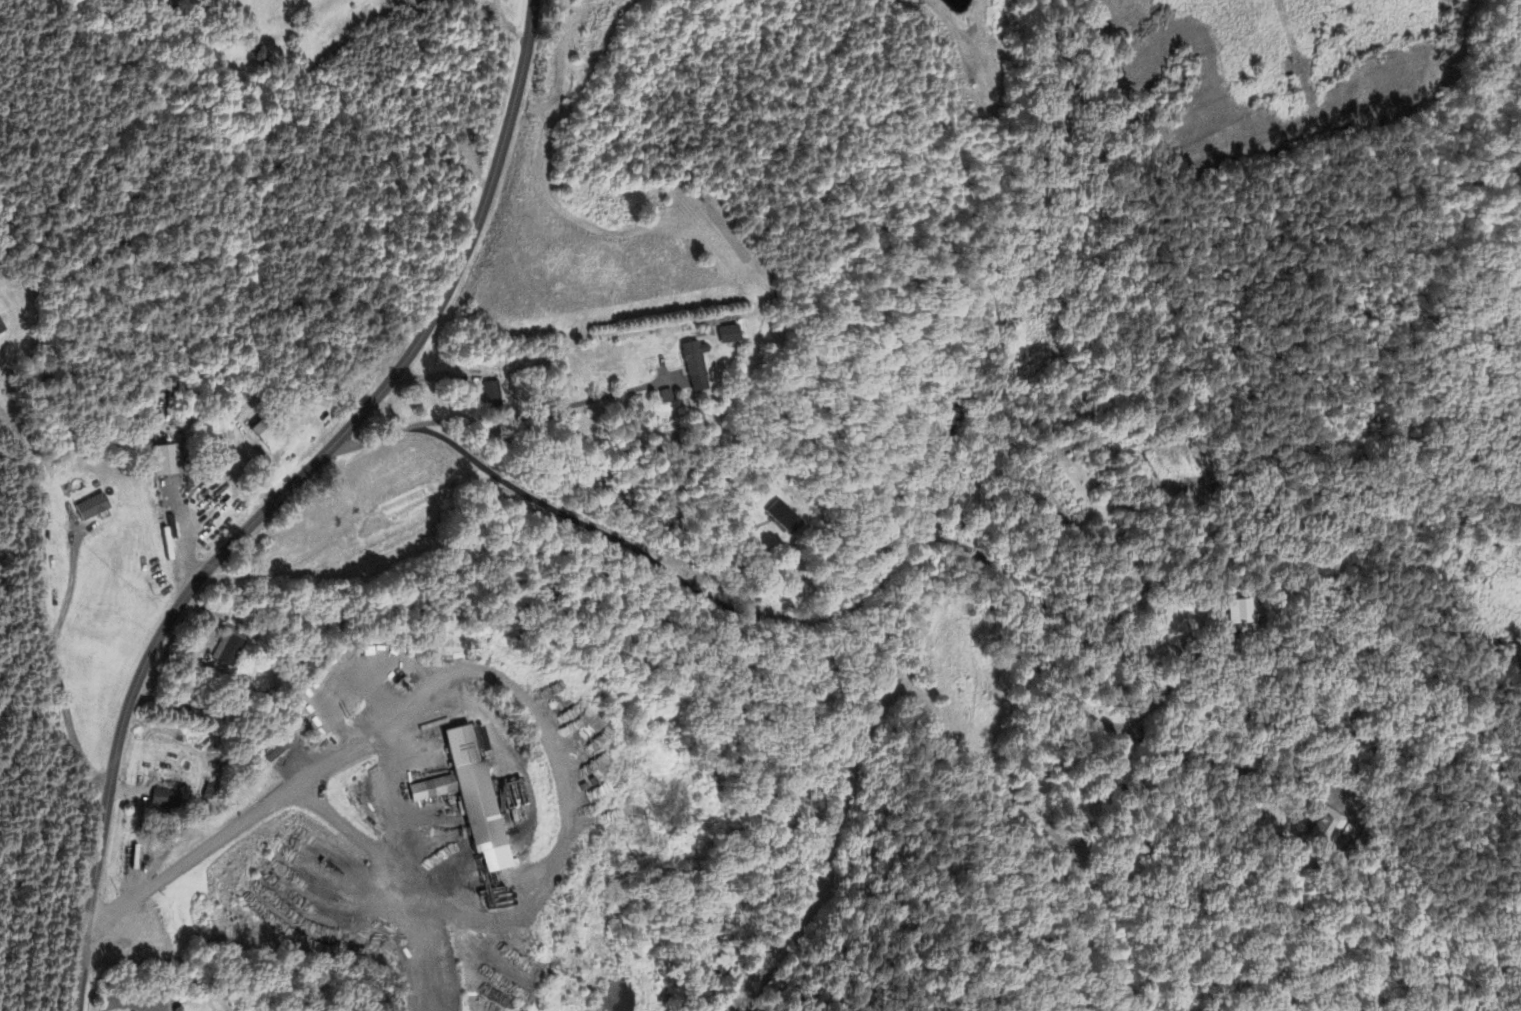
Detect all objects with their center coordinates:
building: (0, 331)
building: (723, 334)
building: (689, 365)
building: (490, 394)
building: (661, 397)
road: (539, 410)
building: (264, 430)
building: (164, 461)
road: (280, 496)
building: (91, 509)
building: (781, 517)
road: (853, 596)
road: (42, 605)
building: (1241, 613)
building: (229, 647)
road: (1169, 684)
road: (522, 697)
building: (333, 705)
building: (272, 752)
building: (161, 799)
building: (467, 799)

